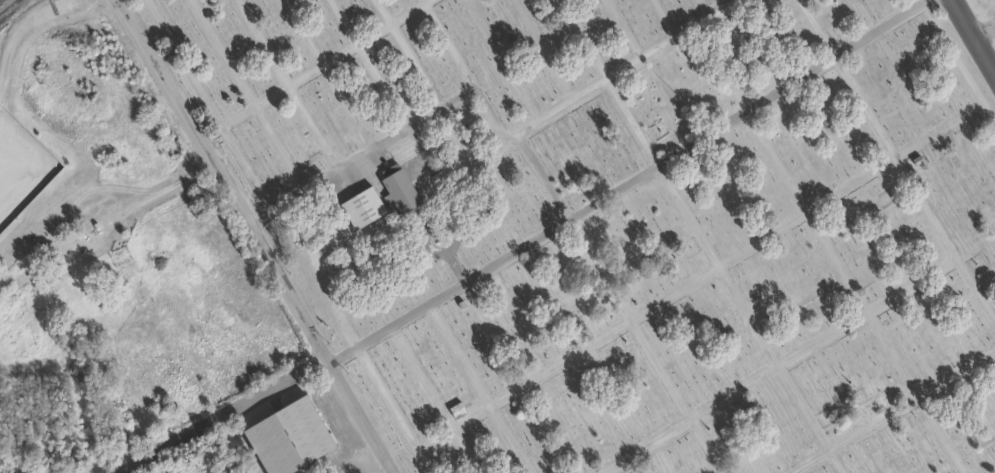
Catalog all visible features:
road: (920, 0)
road: (922, 0)
road: (422, 1)
road: (425, 1)
road: (702, 9)
road: (382, 12)
road: (663, 19)
road: (342, 22)
road: (623, 28)
road: (816, 28)
road: (981, 28)
road: (301, 32)
road: (20, 37)
road: (582, 39)
road: (971, 40)
road: (261, 42)
road: (447, 45)
road: (543, 48)
road: (222, 51)
road: (636, 58)
road: (503, 59)
road: (414, 65)
road: (719, 68)
road: (788, 83)
road: (379, 84)
road: (978, 96)
road: (260, 99)
road: (345, 105)
road: (864, 106)
road: (989, 112)
road: (420, 116)
road: (630, 120)
road: (310, 126)
road: (498, 127)
road: (277, 147)
road: (352, 157)
road: (775, 161)
road: (246, 165)
road: (317, 179)
building: (395, 186)
road: (611, 190)
road: (159, 191)
road: (286, 200)
building: (359, 206)
road: (924, 206)
road: (805, 212)
road: (685, 215)
road: (257, 216)
park: (621, 223)
road: (421, 224)
road: (251, 237)
road: (452, 243)
road: (496, 260)
road: (836, 262)
road: (457, 268)
road: (597, 269)
building: (303, 280)
road: (975, 288)
road: (885, 300)
road: (495, 332)
road: (457, 354)
road: (565, 359)
road: (658, 370)
road: (420, 376)
road: (738, 389)
road: (913, 392)
road: (384, 394)
road: (912, 401)
building: (455, 409)
road: (227, 412)
road: (809, 419)
road: (551, 428)
building: (284, 436)
road: (507, 439)
road: (704, 446)
road: (464, 450)
road: (420, 458)
road: (812, 462)

